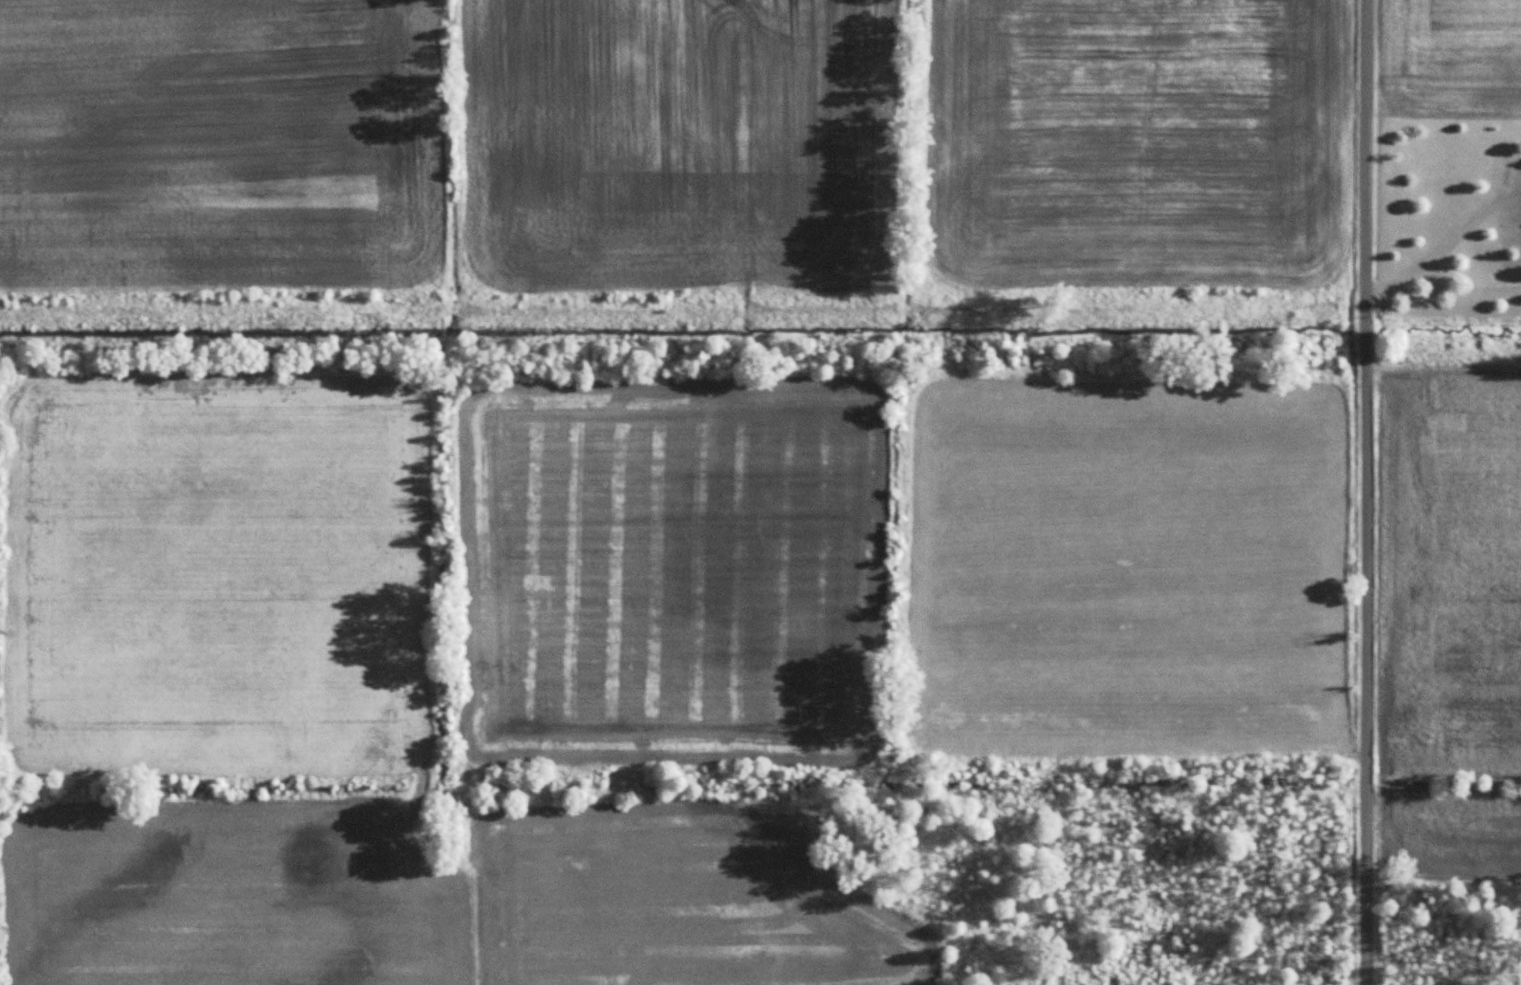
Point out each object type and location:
road: (1513, 179)
road: (1444, 245)
road: (1442, 315)
road: (1362, 492)

